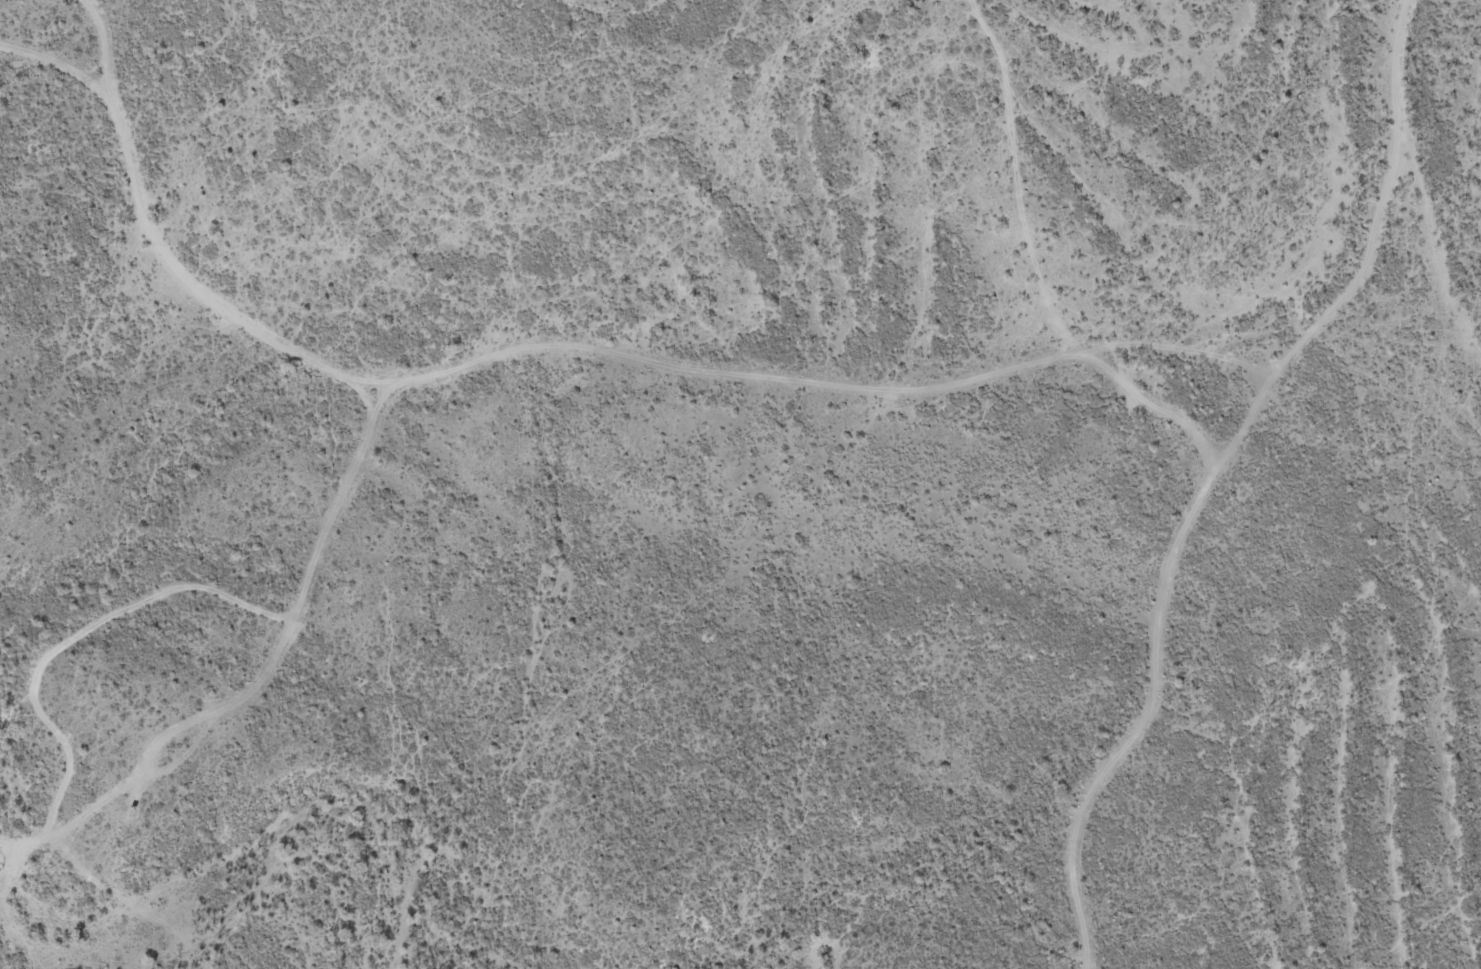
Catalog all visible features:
road: (757, 374)
road: (1171, 669)

